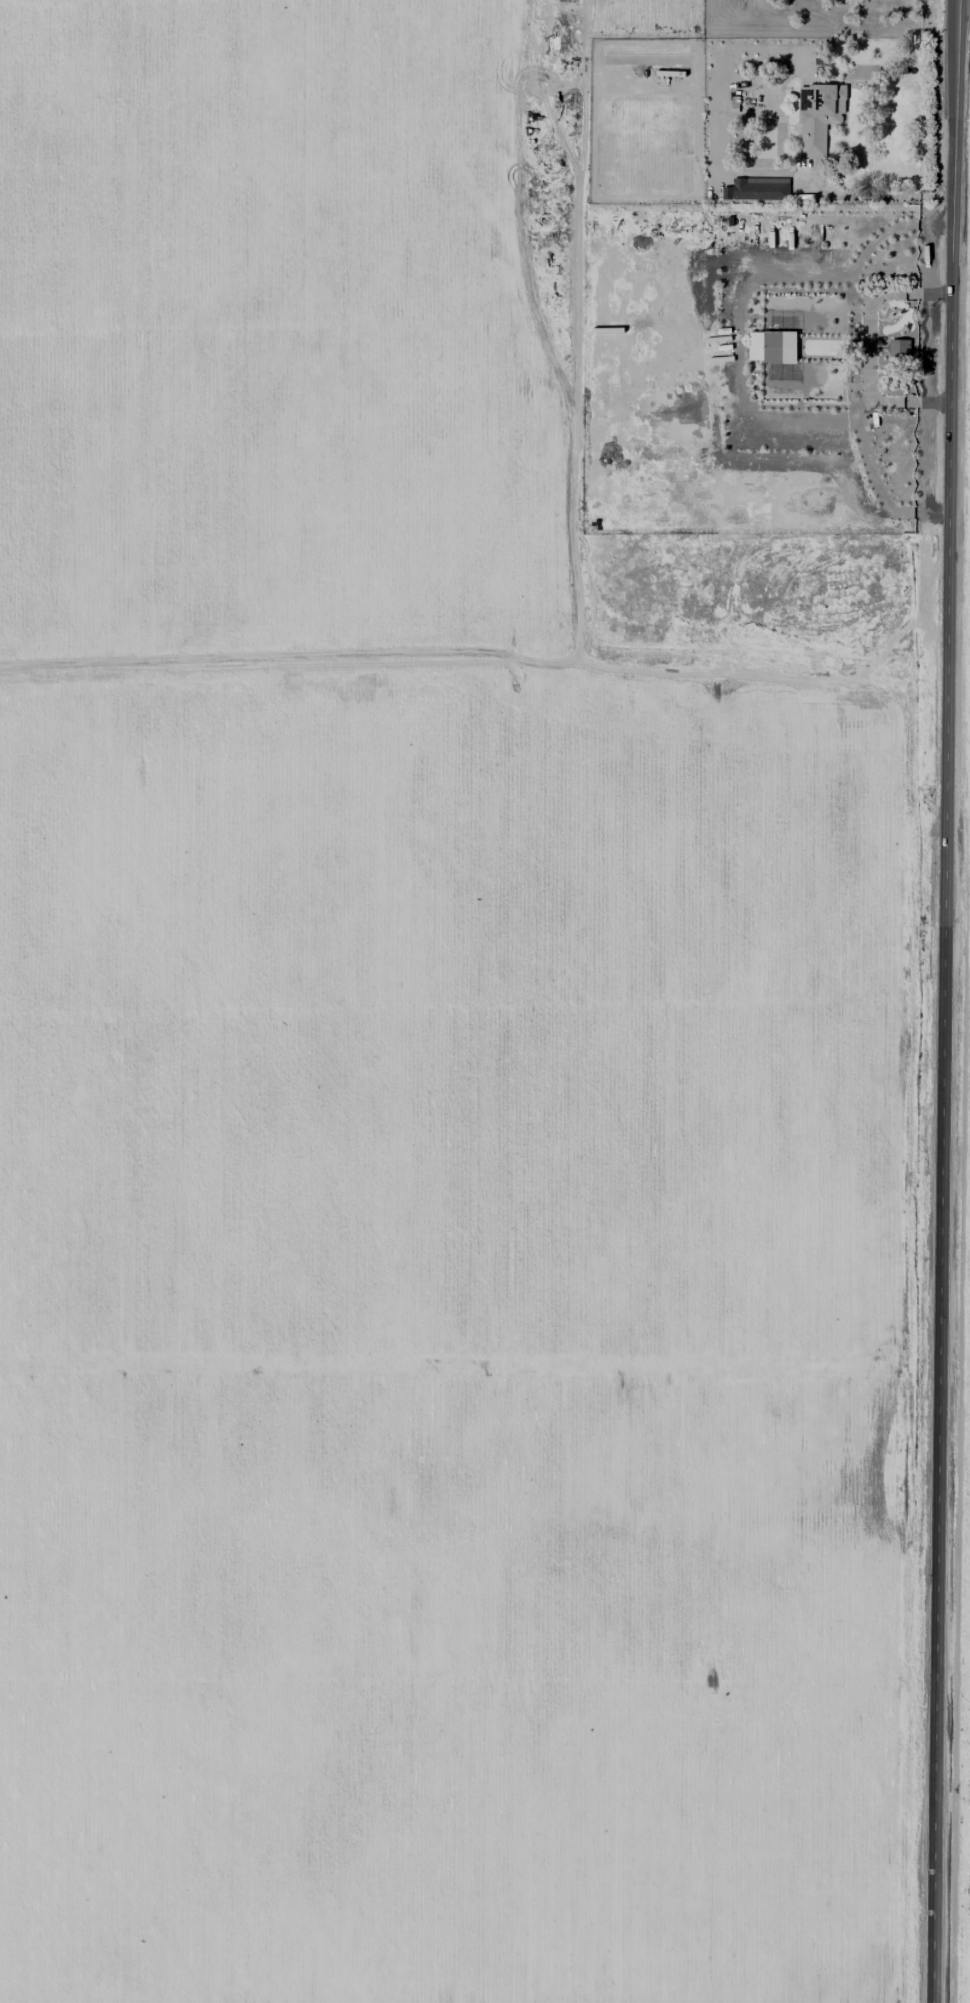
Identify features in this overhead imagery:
building: (819, 115)
building: (757, 189)
road: (872, 194)
building: (900, 347)
road: (949, 464)
road: (939, 1466)

